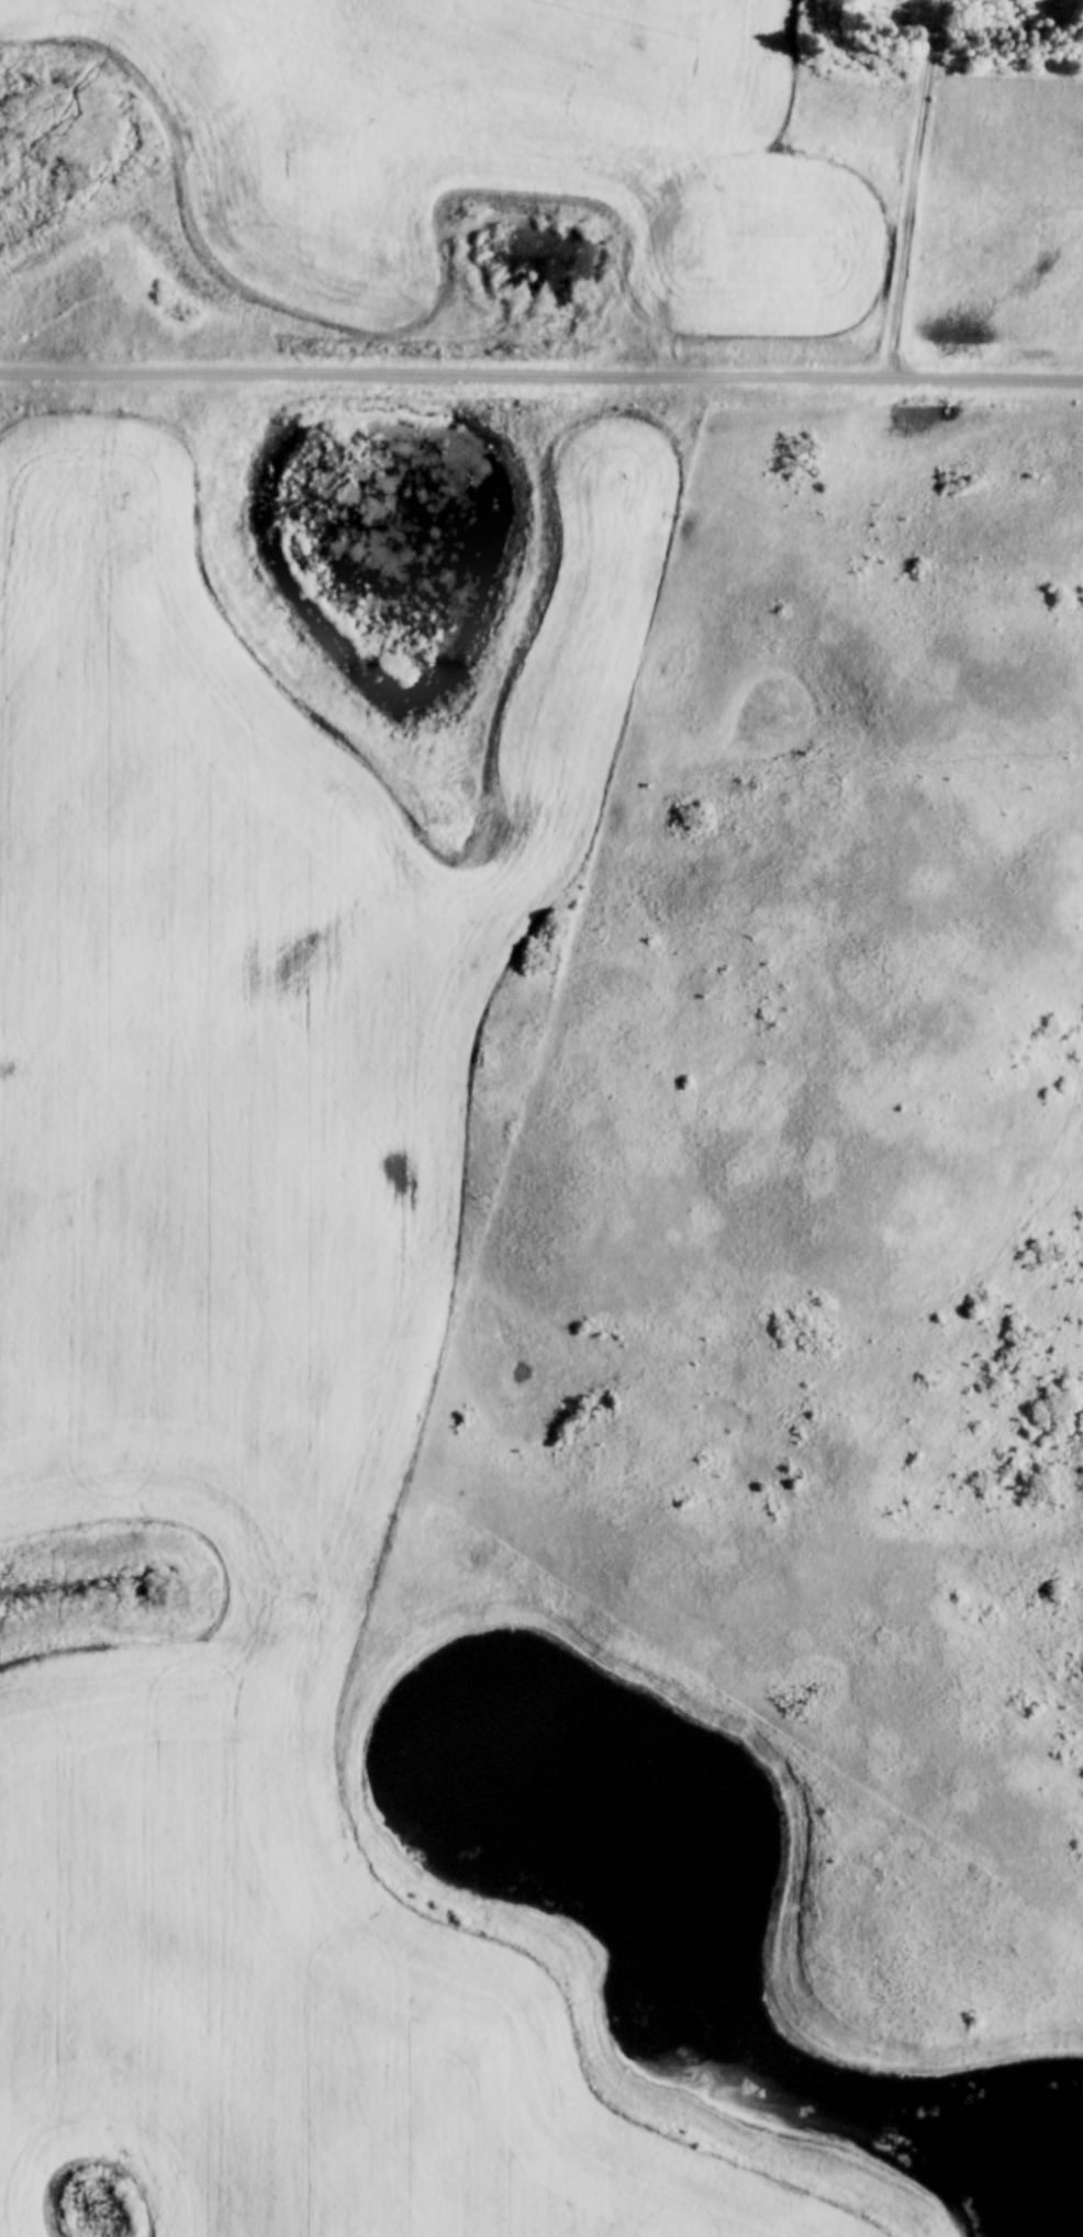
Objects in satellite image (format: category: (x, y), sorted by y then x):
road: (911, 188)
road: (540, 377)

